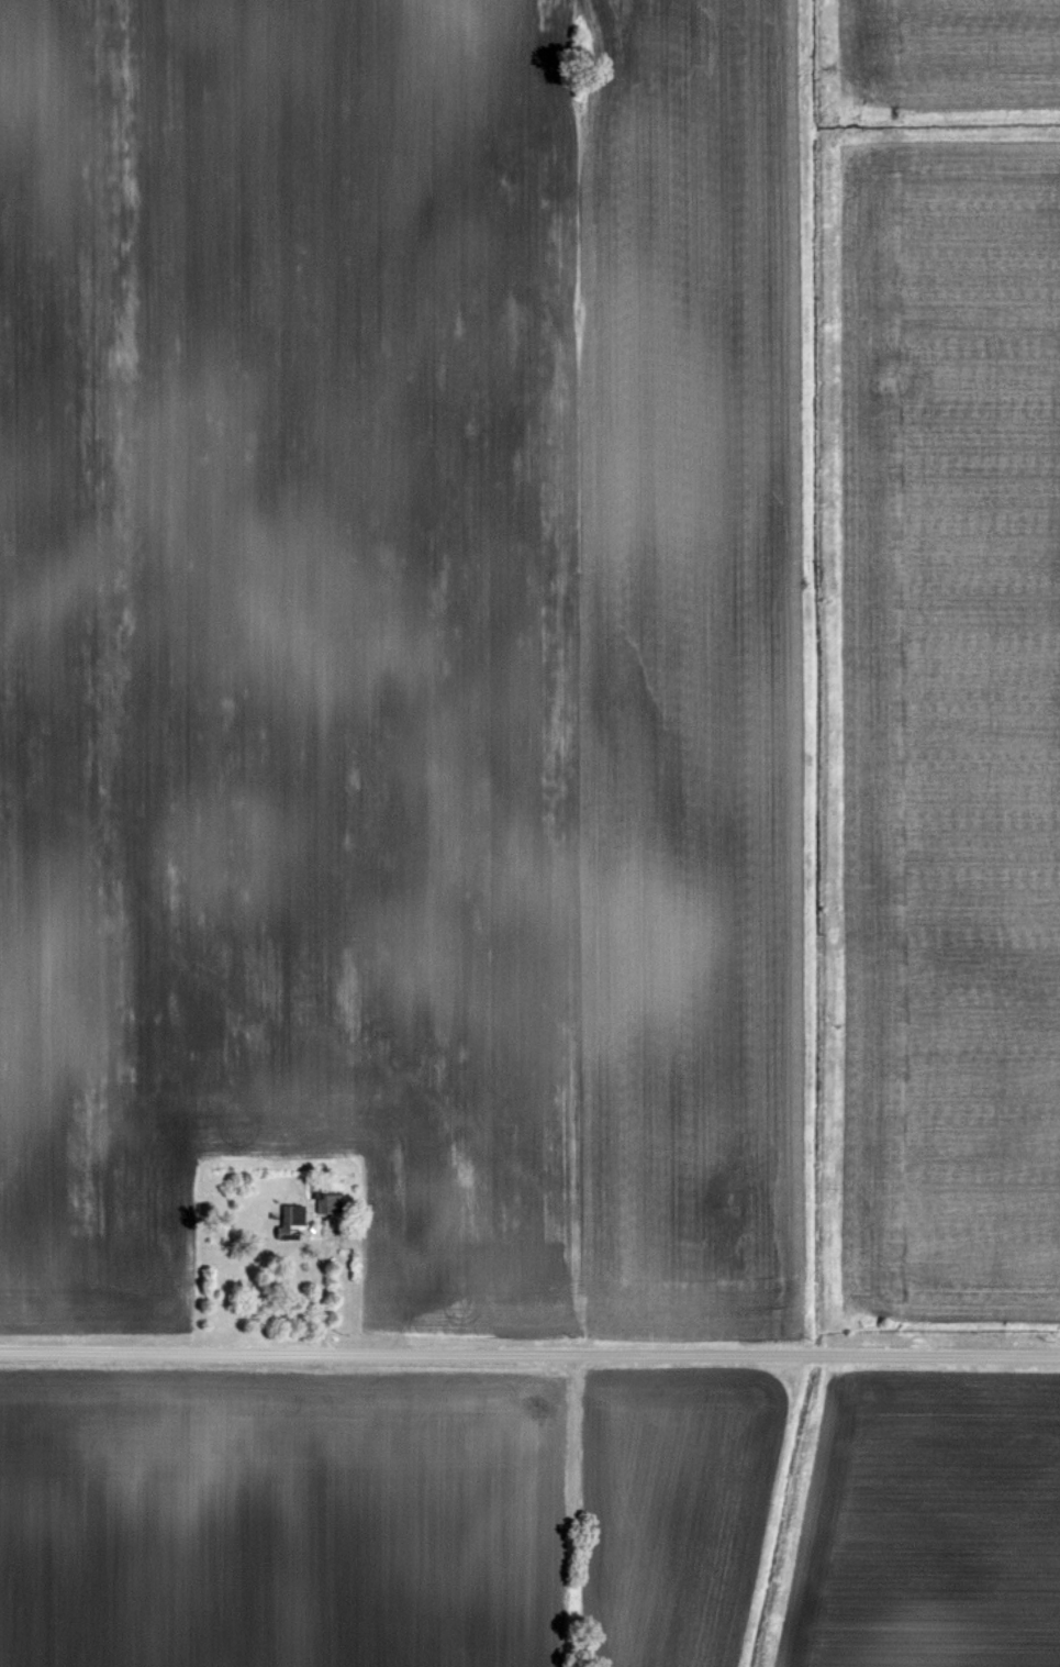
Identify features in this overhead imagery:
road: (529, 1355)

